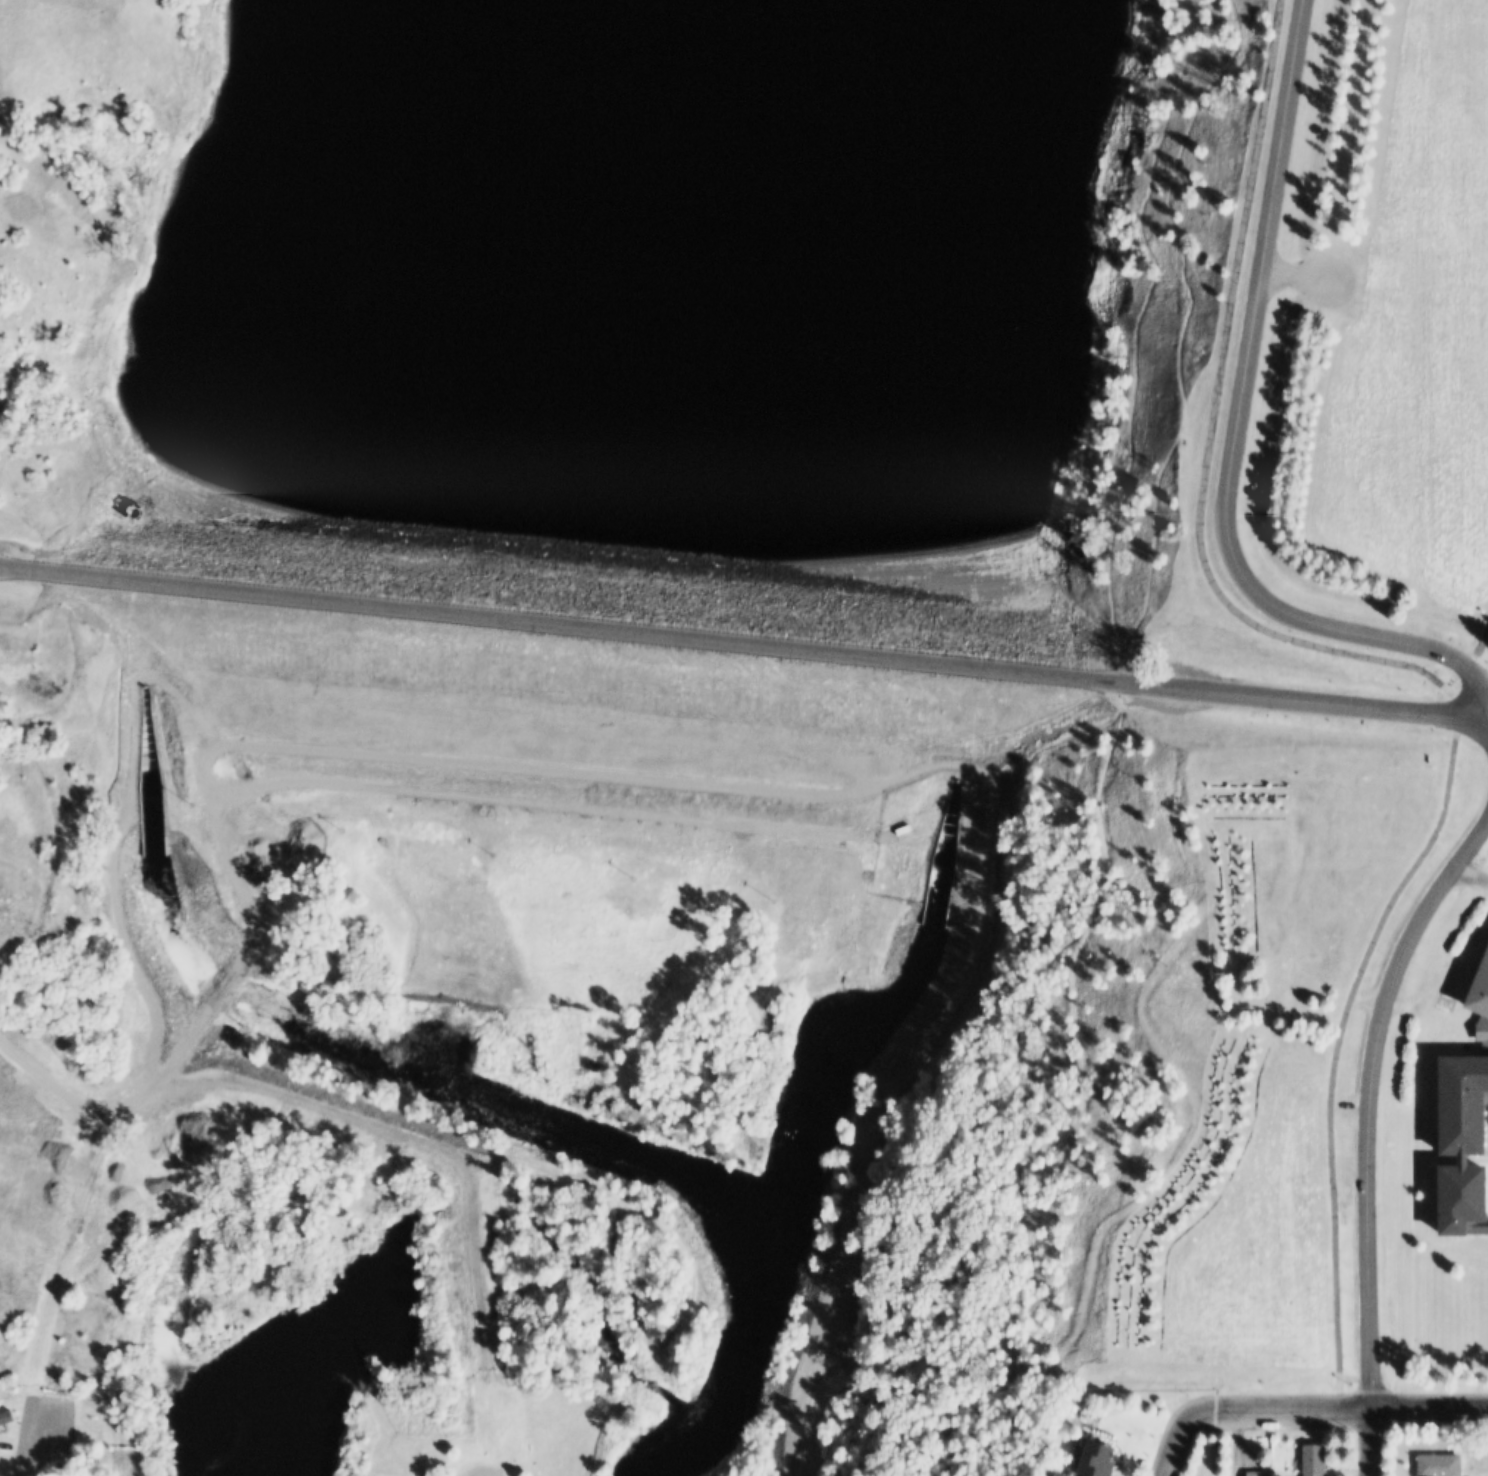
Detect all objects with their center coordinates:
river: (327, 250)
road: (1296, 272)
river: (787, 281)
road: (1239, 424)
river: (133, 594)
park: (1478, 627)
road: (744, 639)
road: (1469, 660)
road: (1399, 663)
river: (925, 673)
road: (809, 804)
river: (145, 837)
road: (1471, 877)
building: (1480, 988)
river: (214, 992)
building: (1483, 1031)
road: (87, 1105)
river: (499, 1106)
road: (1370, 1134)
river: (802, 1135)
building: (1464, 1143)
road: (571, 1179)
road: (484, 1310)
river: (311, 1352)
road: (1356, 1379)
road: (1340, 1409)
building: (8, 1417)
building: (0, 1430)
road: (1236, 1442)
road: (1175, 1443)
road: (35, 1449)
building: (2, 1458)
building: (1100, 1459)
building: (1317, 1460)
building: (1444, 1465)
road: (481, 1468)
building: (1261, 1473)

